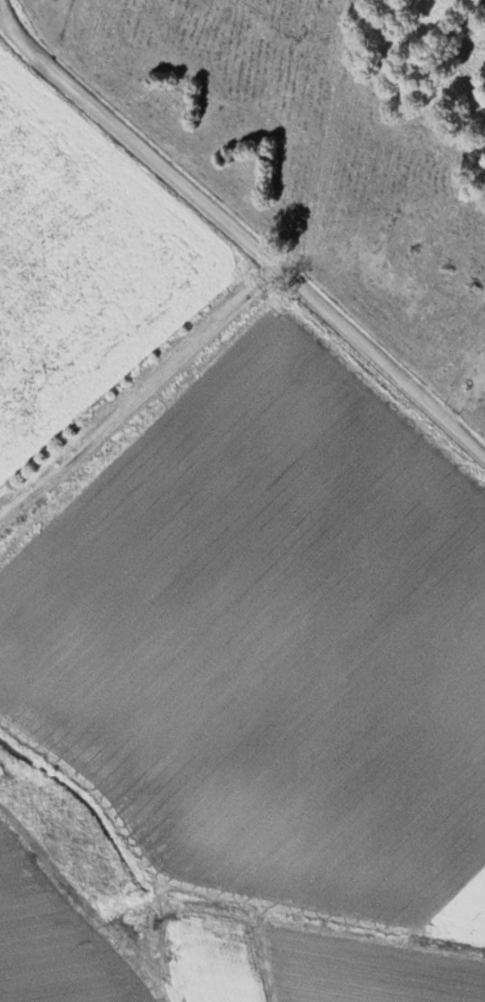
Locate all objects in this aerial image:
road: (240, 237)
road: (138, 393)

